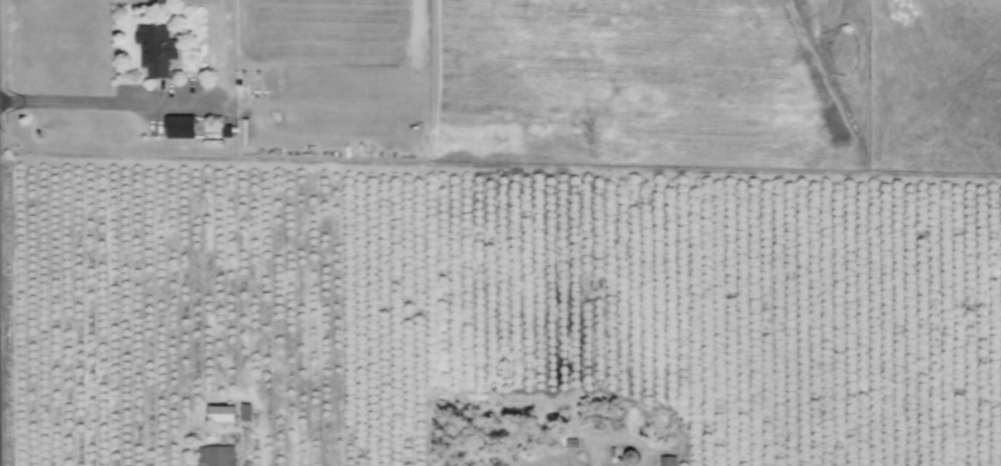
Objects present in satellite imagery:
building: (154, 49)
building: (179, 126)
building: (244, 412)
building: (220, 414)
building: (214, 456)
building: (666, 461)

